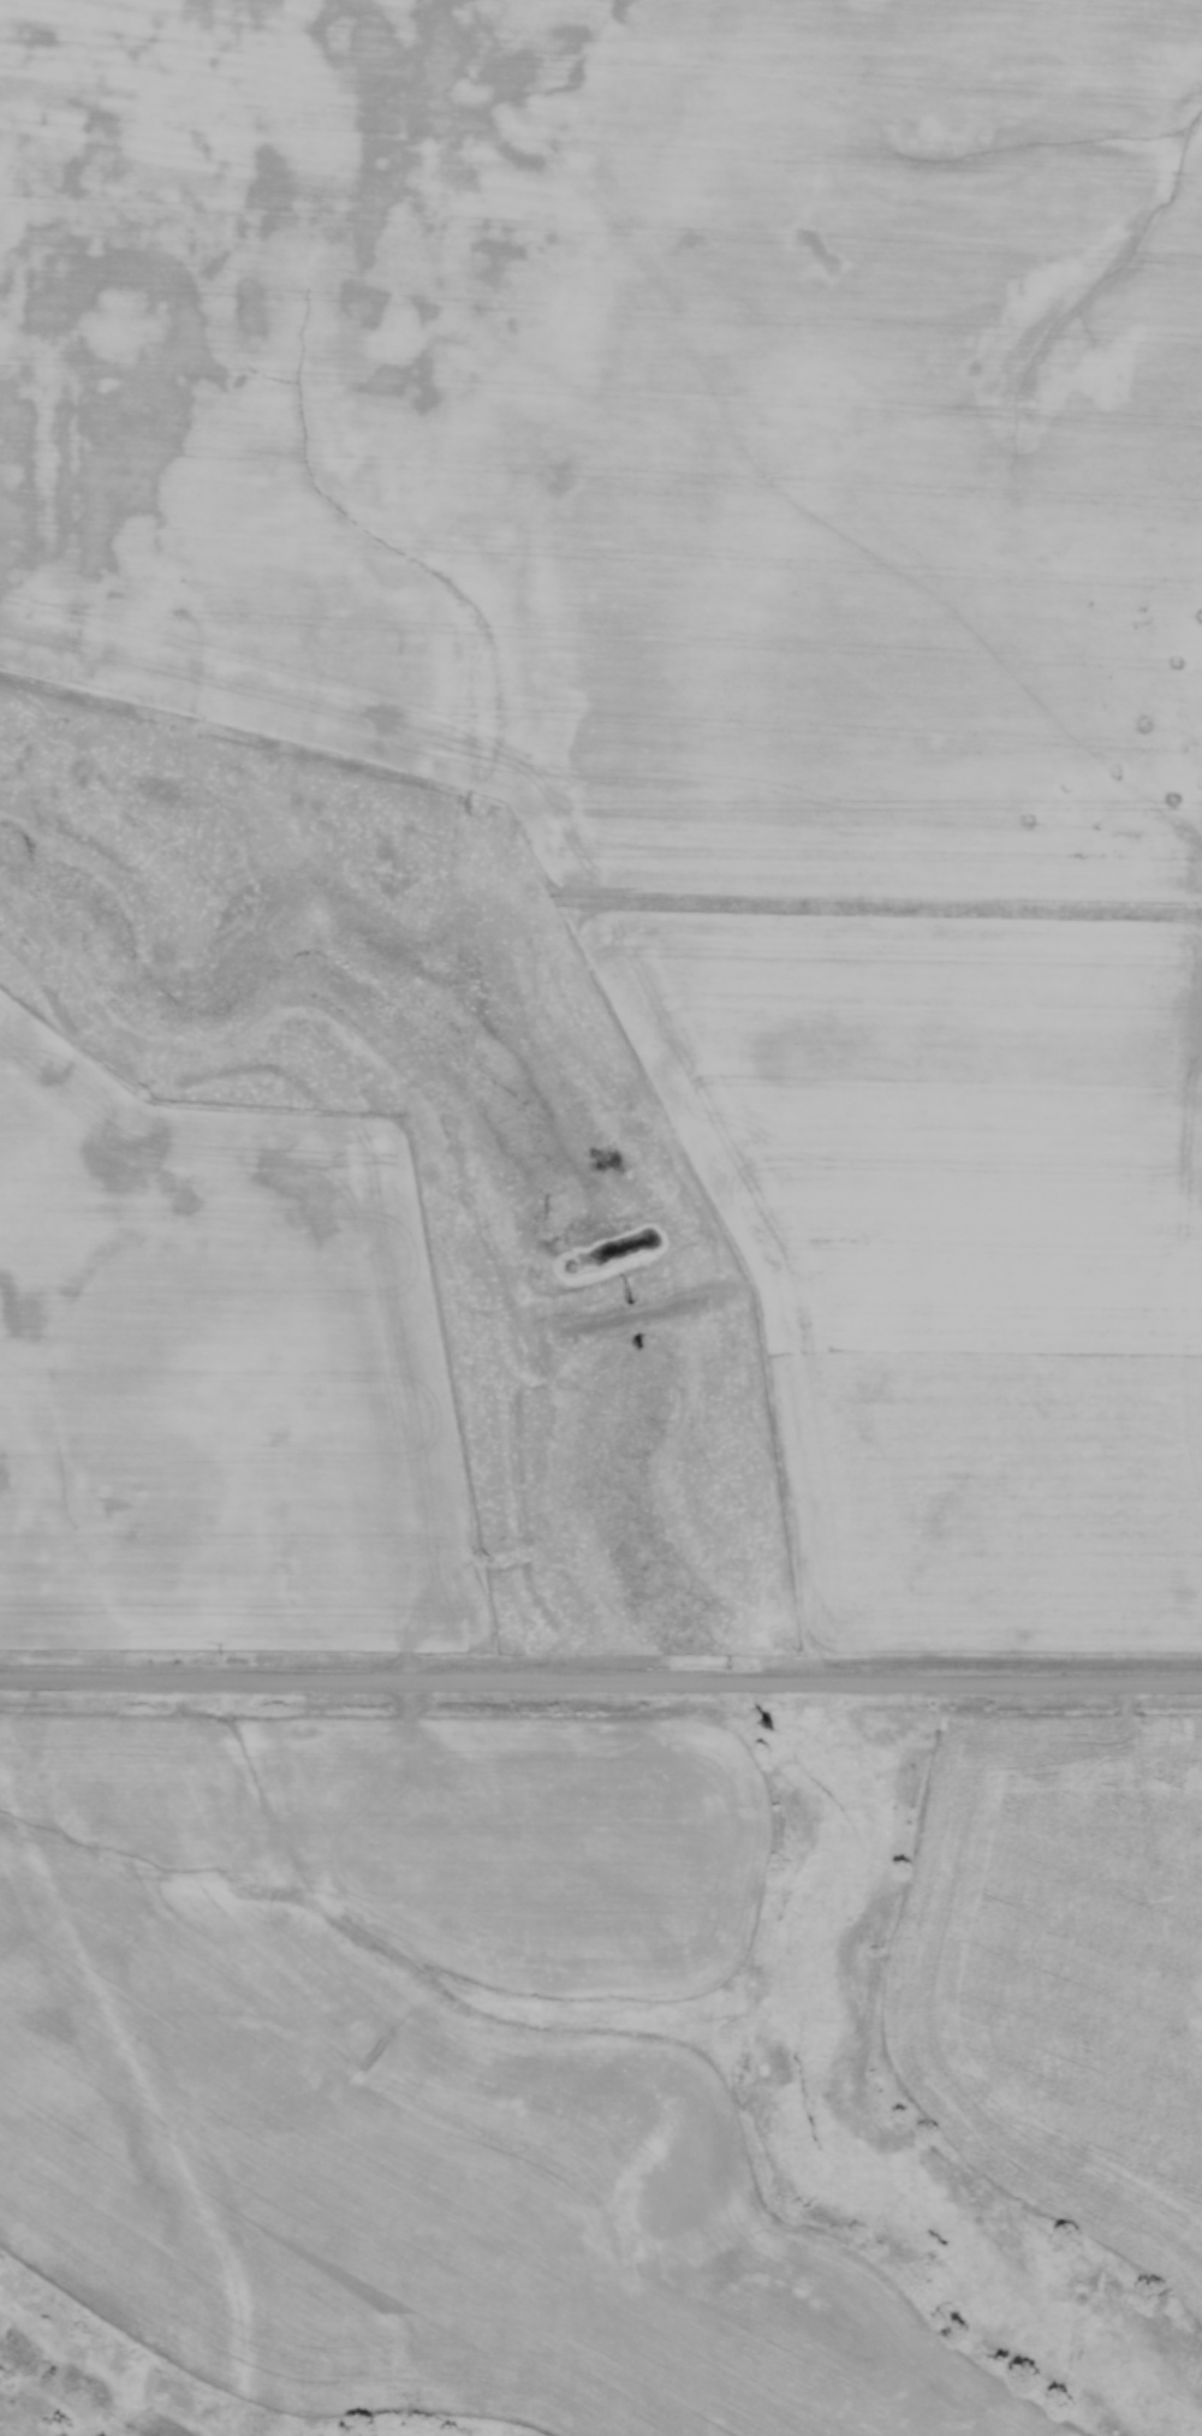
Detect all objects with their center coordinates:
road: (601, 1685)

